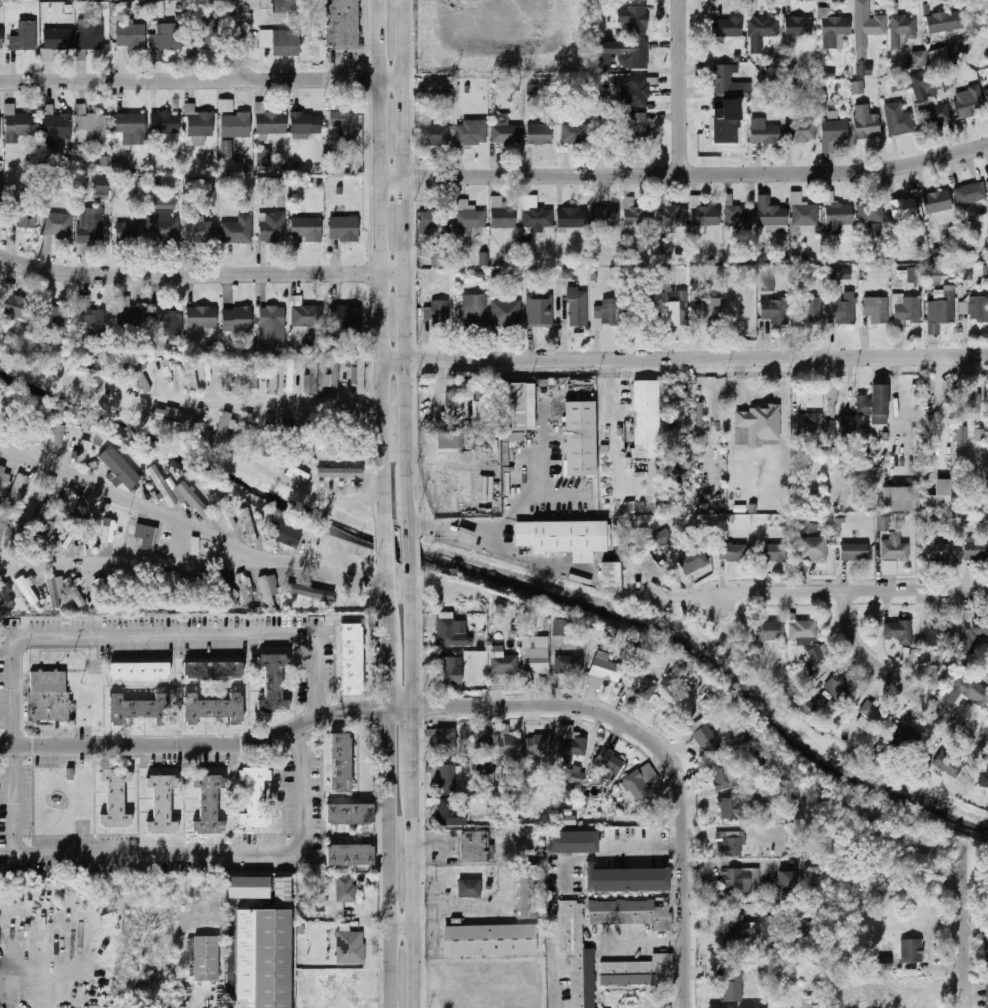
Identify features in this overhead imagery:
building: (646, 0)
building: (648, 0)
building: (987, 0)
building: (285, 12)
building: (634, 20)
building: (945, 21)
building: (345, 24)
building: (798, 26)
building: (725, 27)
building: (833, 29)
building: (902, 31)
building: (761, 32)
building: (866, 33)
building: (91, 35)
building: (131, 36)
building: (24, 37)
road: (244, 37)
building: (162, 38)
building: (1, 39)
building: (58, 39)
building: (281, 41)
building: (198, 42)
building: (629, 54)
building: (934, 57)
building: (917, 60)
building: (949, 71)
road: (202, 75)
building: (724, 82)
building: (899, 83)
building: (926, 84)
building: (439, 86)
road: (682, 87)
building: (857, 87)
building: (639, 92)
building: (969, 102)
building: (228, 104)
building: (935, 116)
building: (898, 119)
building: (269, 120)
building: (723, 121)
building: (199, 122)
building: (165, 123)
building: (306, 123)
building: (866, 123)
building: (346, 124)
building: (236, 125)
building: (56, 126)
building: (21, 127)
building: (93, 128)
building: (131, 128)
building: (638, 128)
building: (834, 131)
building: (763, 132)
building: (800, 132)
building: (471, 133)
building: (605, 133)
building: (436, 134)
building: (506, 134)
building: (539, 134)
building: (577, 134)
building: (226, 149)
building: (264, 157)
road: (684, 175)
building: (0, 186)
building: (103, 187)
building: (970, 193)
building: (208, 200)
building: (937, 201)
building: (903, 209)
building: (803, 211)
building: (22, 212)
building: (870, 213)
building: (502, 214)
building: (704, 214)
building: (836, 214)
building: (771, 215)
building: (469, 216)
building: (636, 216)
building: (670, 216)
building: (738, 216)
building: (538, 217)
building: (606, 217)
building: (571, 218)
building: (435, 220)
building: (57, 225)
building: (164, 226)
building: (273, 227)
building: (90, 228)
building: (307, 229)
building: (344, 229)
building: (876, 229)
building: (238, 230)
building: (200, 231)
building: (131, 232)
building: (919, 236)
building: (939, 255)
building: (441, 257)
building: (483, 258)
road: (379, 263)
road: (407, 266)
road: (202, 273)
building: (840, 273)
building: (915, 275)
building: (934, 276)
building: (767, 278)
building: (16, 304)
building: (841, 306)
building: (578, 307)
building: (975, 308)
building: (876, 309)
building: (941, 309)
building: (540, 310)
building: (809, 310)
building: (708, 311)
building: (773, 311)
building: (475, 312)
building: (506, 313)
building: (607, 313)
building: (678, 313)
building: (907, 313)
building: (346, 314)
building: (440, 314)
building: (307, 316)
building: (91, 317)
building: (131, 317)
building: (202, 317)
building: (53, 318)
building: (168, 319)
building: (237, 319)
building: (272, 326)
road: (683, 354)
building: (92, 373)
building: (167, 373)
building: (140, 376)
building: (193, 376)
building: (231, 376)
building: (273, 376)
building: (290, 376)
building: (312, 376)
building: (360, 378)
building: (254, 379)
building: (373, 379)
building: (333, 380)
road: (440, 388)
building: (646, 397)
road: (249, 402)
building: (484, 402)
building: (970, 402)
building: (874, 404)
building: (514, 406)
building: (36, 420)
building: (306, 422)
building: (760, 423)
building: (810, 424)
building: (171, 425)
building: (223, 429)
building: (846, 429)
building: (930, 430)
building: (831, 431)
building: (960, 433)
building: (979, 435)
building: (580, 436)
building: (59, 438)
building: (451, 441)
building: (334, 447)
road: (11, 448)
building: (311, 449)
building: (82, 453)
road: (11, 454)
road: (544, 458)
building: (119, 467)
building: (289, 469)
building: (339, 471)
building: (868, 477)
building: (5, 478)
building: (19, 487)
building: (174, 491)
building: (463, 492)
building: (939, 496)
building: (44, 497)
road: (557, 497)
building: (900, 498)
building: (68, 499)
road: (356, 499)
building: (3, 510)
building: (222, 511)
road: (508, 518)
building: (883, 524)
building: (92, 526)
building: (248, 526)
building: (806, 527)
road: (200, 530)
road: (483, 530)
building: (108, 531)
building: (1, 533)
building: (22, 534)
building: (283, 534)
building: (561, 535)
building: (146, 537)
building: (663, 537)
building: (69, 541)
road: (384, 541)
building: (195, 546)
road: (412, 546)
building: (894, 548)
building: (975, 548)
building: (813, 549)
building: (79, 551)
building: (936, 551)
building: (731, 552)
building: (854, 552)
building: (773, 553)
building: (693, 560)
road: (126, 562)
building: (611, 575)
building: (167, 579)
river: (506, 580)
building: (99, 581)
road: (387, 589)
road: (852, 590)
building: (27, 591)
building: (226, 591)
building: (307, 591)
building: (442, 591)
building: (75, 592)
building: (288, 592)
building: (1, 602)
building: (561, 628)
building: (802, 629)
building: (766, 631)
building: (898, 631)
road: (412, 632)
building: (974, 632)
building: (452, 633)
building: (933, 633)
building: (818, 653)
building: (536, 655)
building: (352, 659)
road: (389, 663)
building: (504, 665)
building: (568, 665)
building: (213, 670)
building: (450, 670)
building: (140, 671)
building: (604, 671)
road: (896, 680)
building: (273, 685)
building: (642, 685)
building: (841, 687)
building: (966, 690)
building: (48, 697)
building: (805, 705)
road: (365, 707)
building: (213, 708)
building: (139, 709)
building: (871, 715)
building: (905, 735)
building: (705, 738)
building: (446, 742)
building: (538, 742)
building: (571, 742)
road: (173, 743)
building: (485, 744)
road: (653, 744)
road: (412, 745)
building: (509, 745)
road: (14, 758)
building: (608, 762)
building: (340, 763)
building: (948, 763)
building: (485, 768)
building: (441, 774)
building: (575, 774)
building: (720, 777)
building: (983, 779)
building: (641, 781)
building: (568, 790)
building: (255, 797)
building: (115, 798)
building: (162, 804)
building: (208, 804)
building: (740, 808)
building: (447, 810)
building: (350, 814)
building: (567, 820)
building: (573, 842)
building: (730, 843)
road: (643, 845)
building: (476, 846)
building: (350, 854)
road: (392, 856)
building: (626, 879)
building: (740, 880)
building: (786, 881)
building: (249, 886)
building: (469, 888)
building: (527, 890)
building: (340, 893)
road: (413, 896)
building: (796, 907)
building: (630, 913)
road: (403, 926)
road: (967, 927)
building: (737, 928)
building: (490, 940)
road: (642, 940)
building: (350, 947)
building: (987, 950)
building: (265, 951)
building: (912, 951)
building: (577, 955)
building: (207, 958)
road: (558, 959)
building: (884, 964)
building: (636, 972)
road: (230, 980)
building: (733, 986)
building: (987, 995)
road: (194, 1005)

